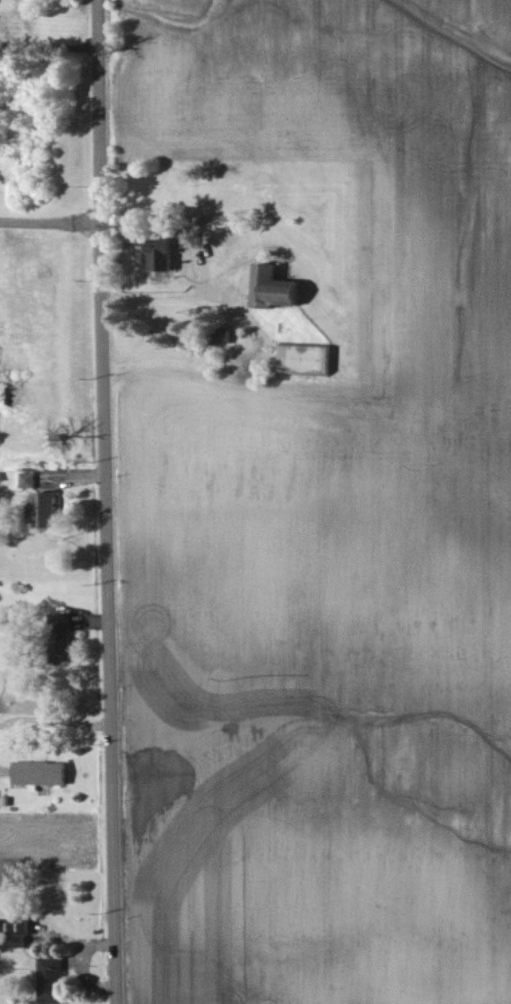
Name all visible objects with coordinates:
road: (51, 47)
road: (49, 219)
building: (170, 255)
road: (167, 294)
building: (33, 482)
road: (110, 501)
building: (52, 512)
road: (57, 721)
building: (44, 774)
building: (55, 980)

